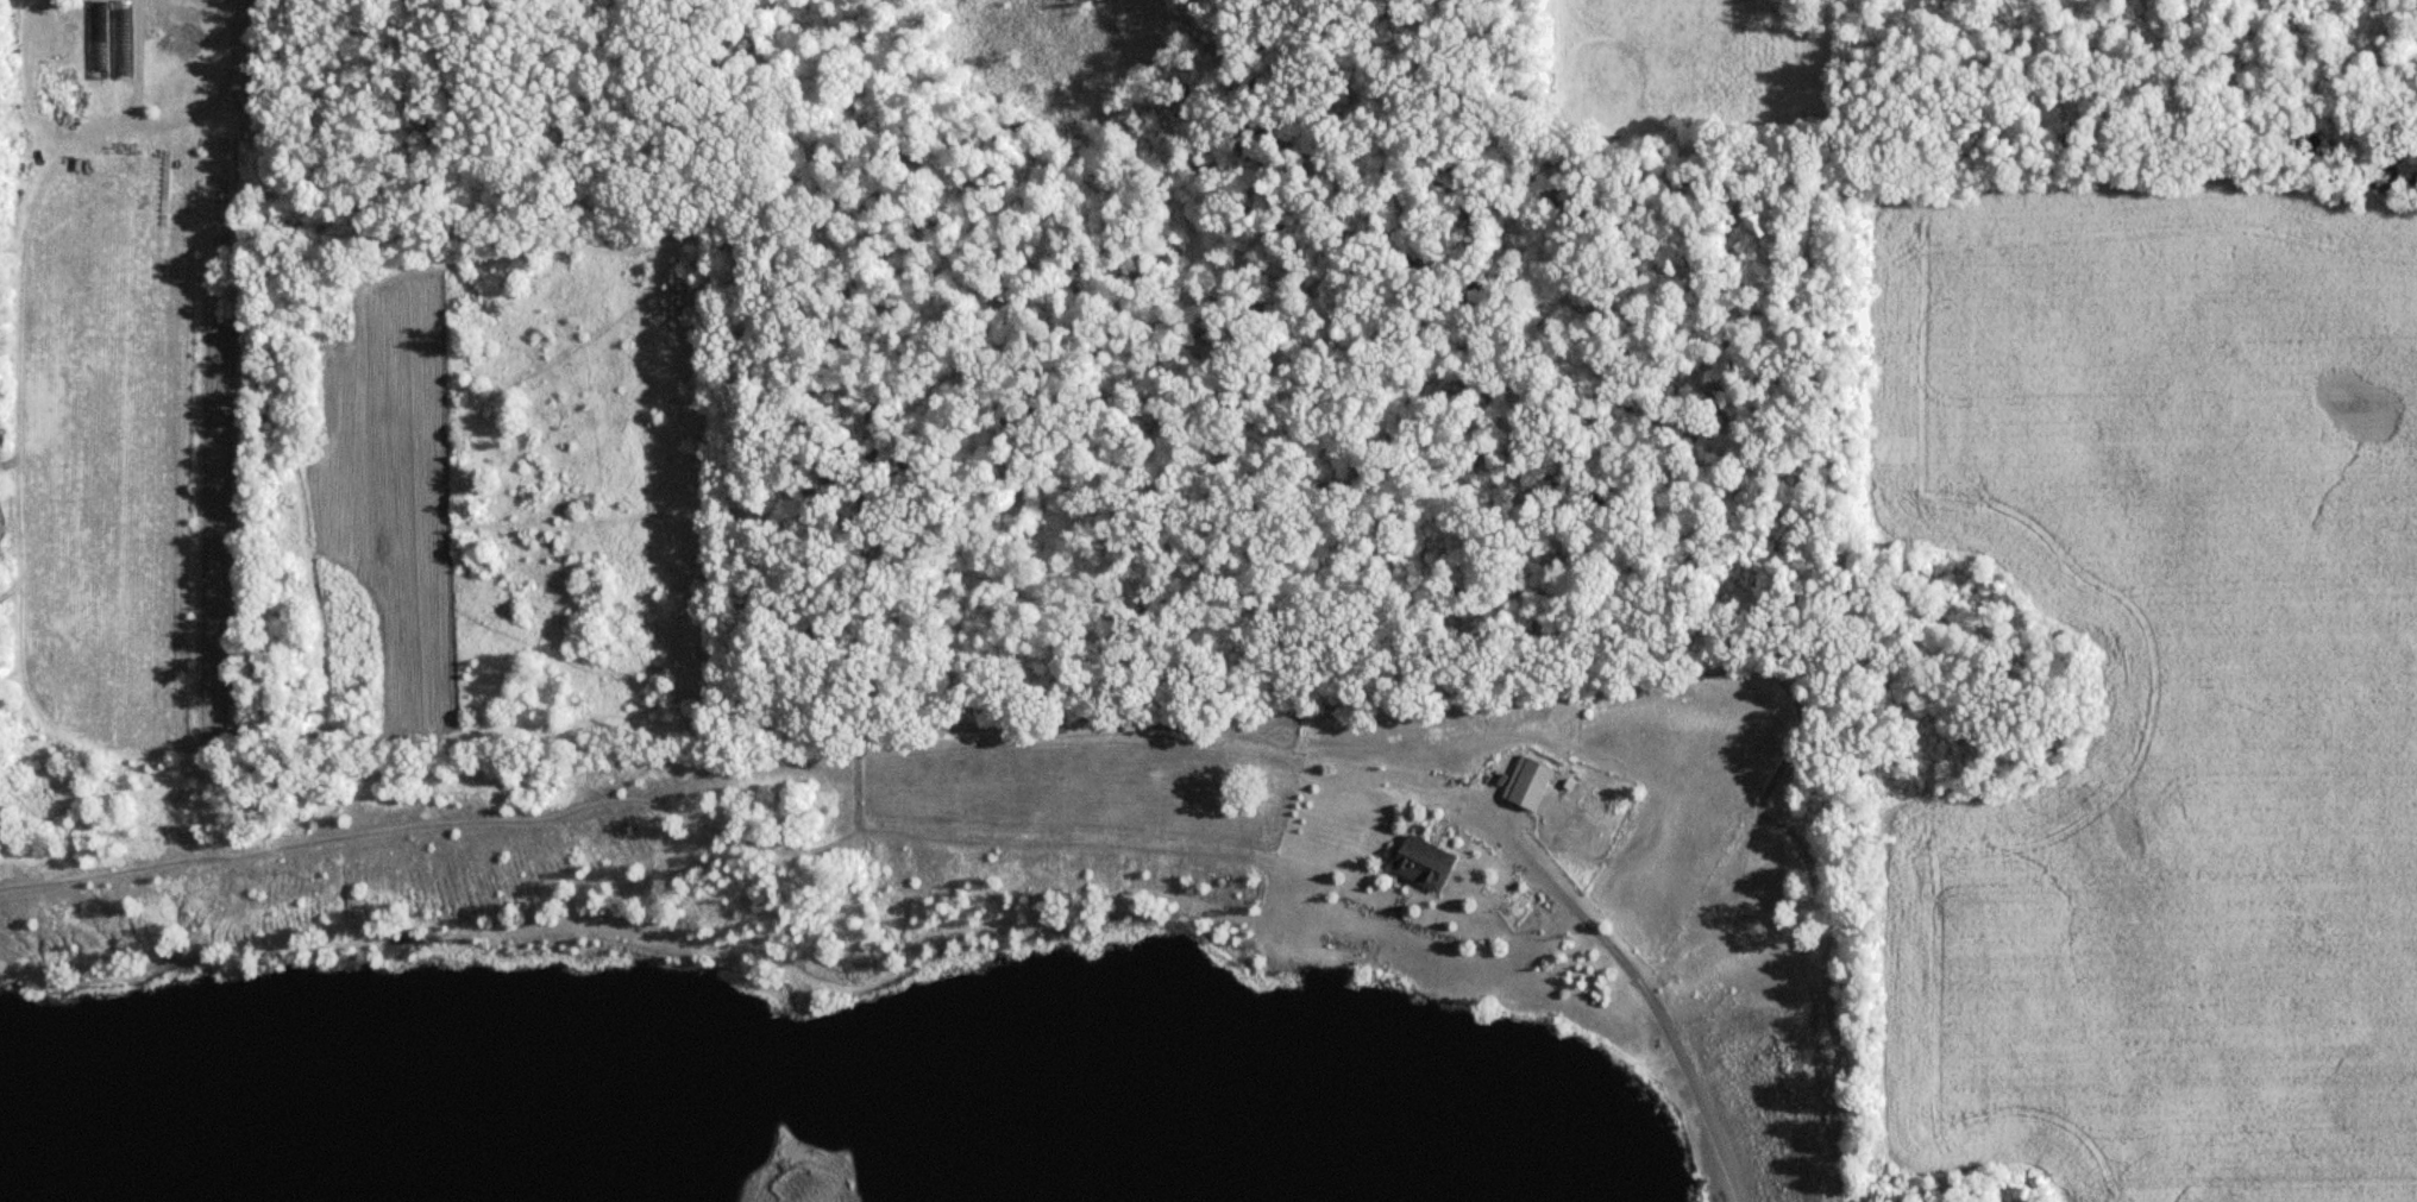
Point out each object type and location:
building: (98, 38)
building: (121, 38)
building: (1525, 783)
building: (1420, 862)
quarry: (941, 961)
road: (1655, 1002)

